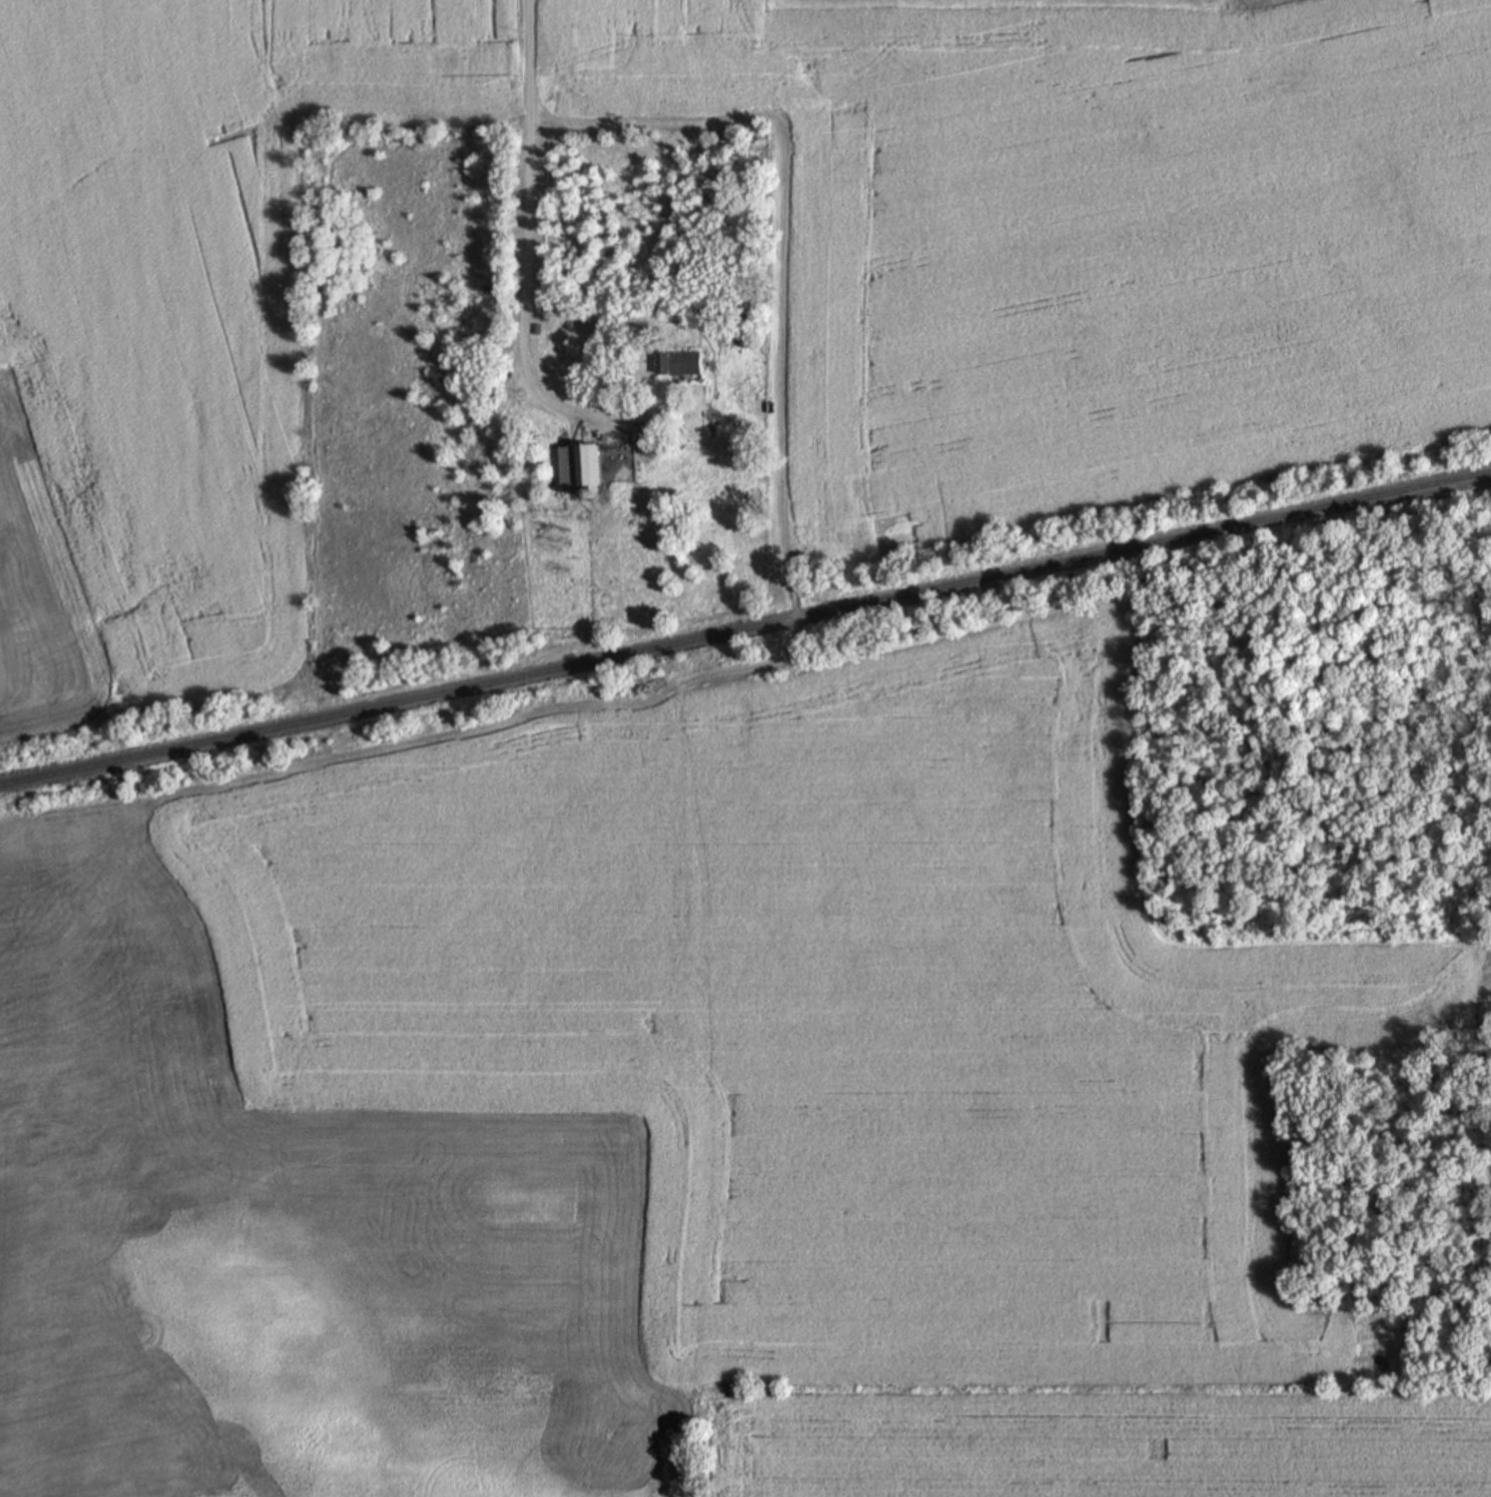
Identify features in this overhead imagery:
road: (523, 285)
road: (778, 310)
building: (675, 362)
building: (576, 466)
railway: (745, 627)

